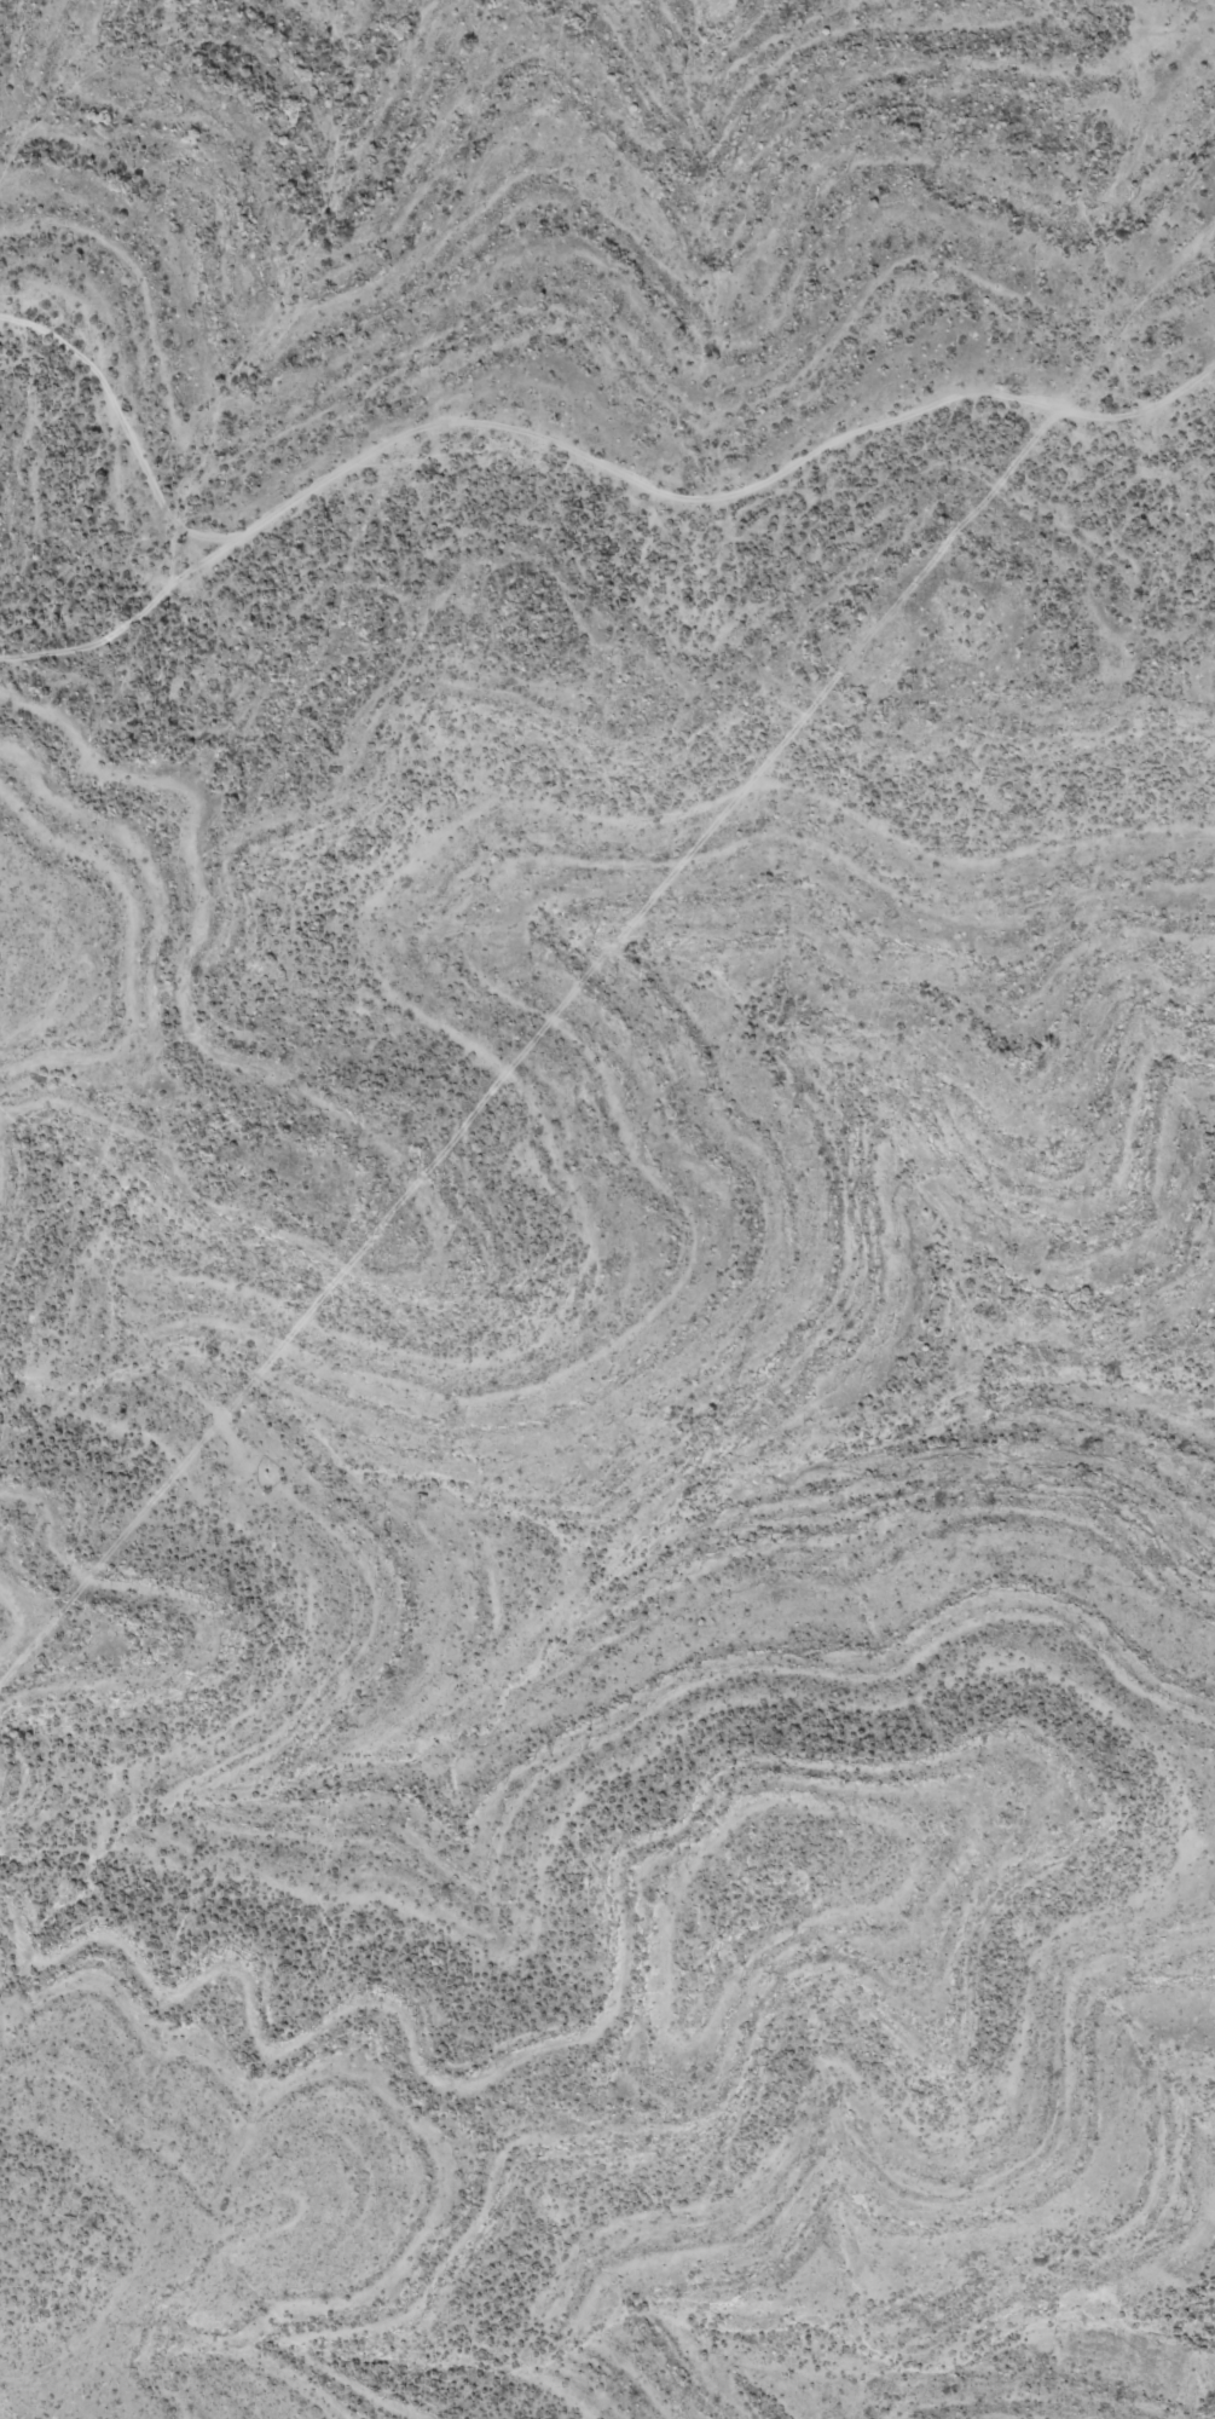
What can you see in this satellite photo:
road: (554, 438)

